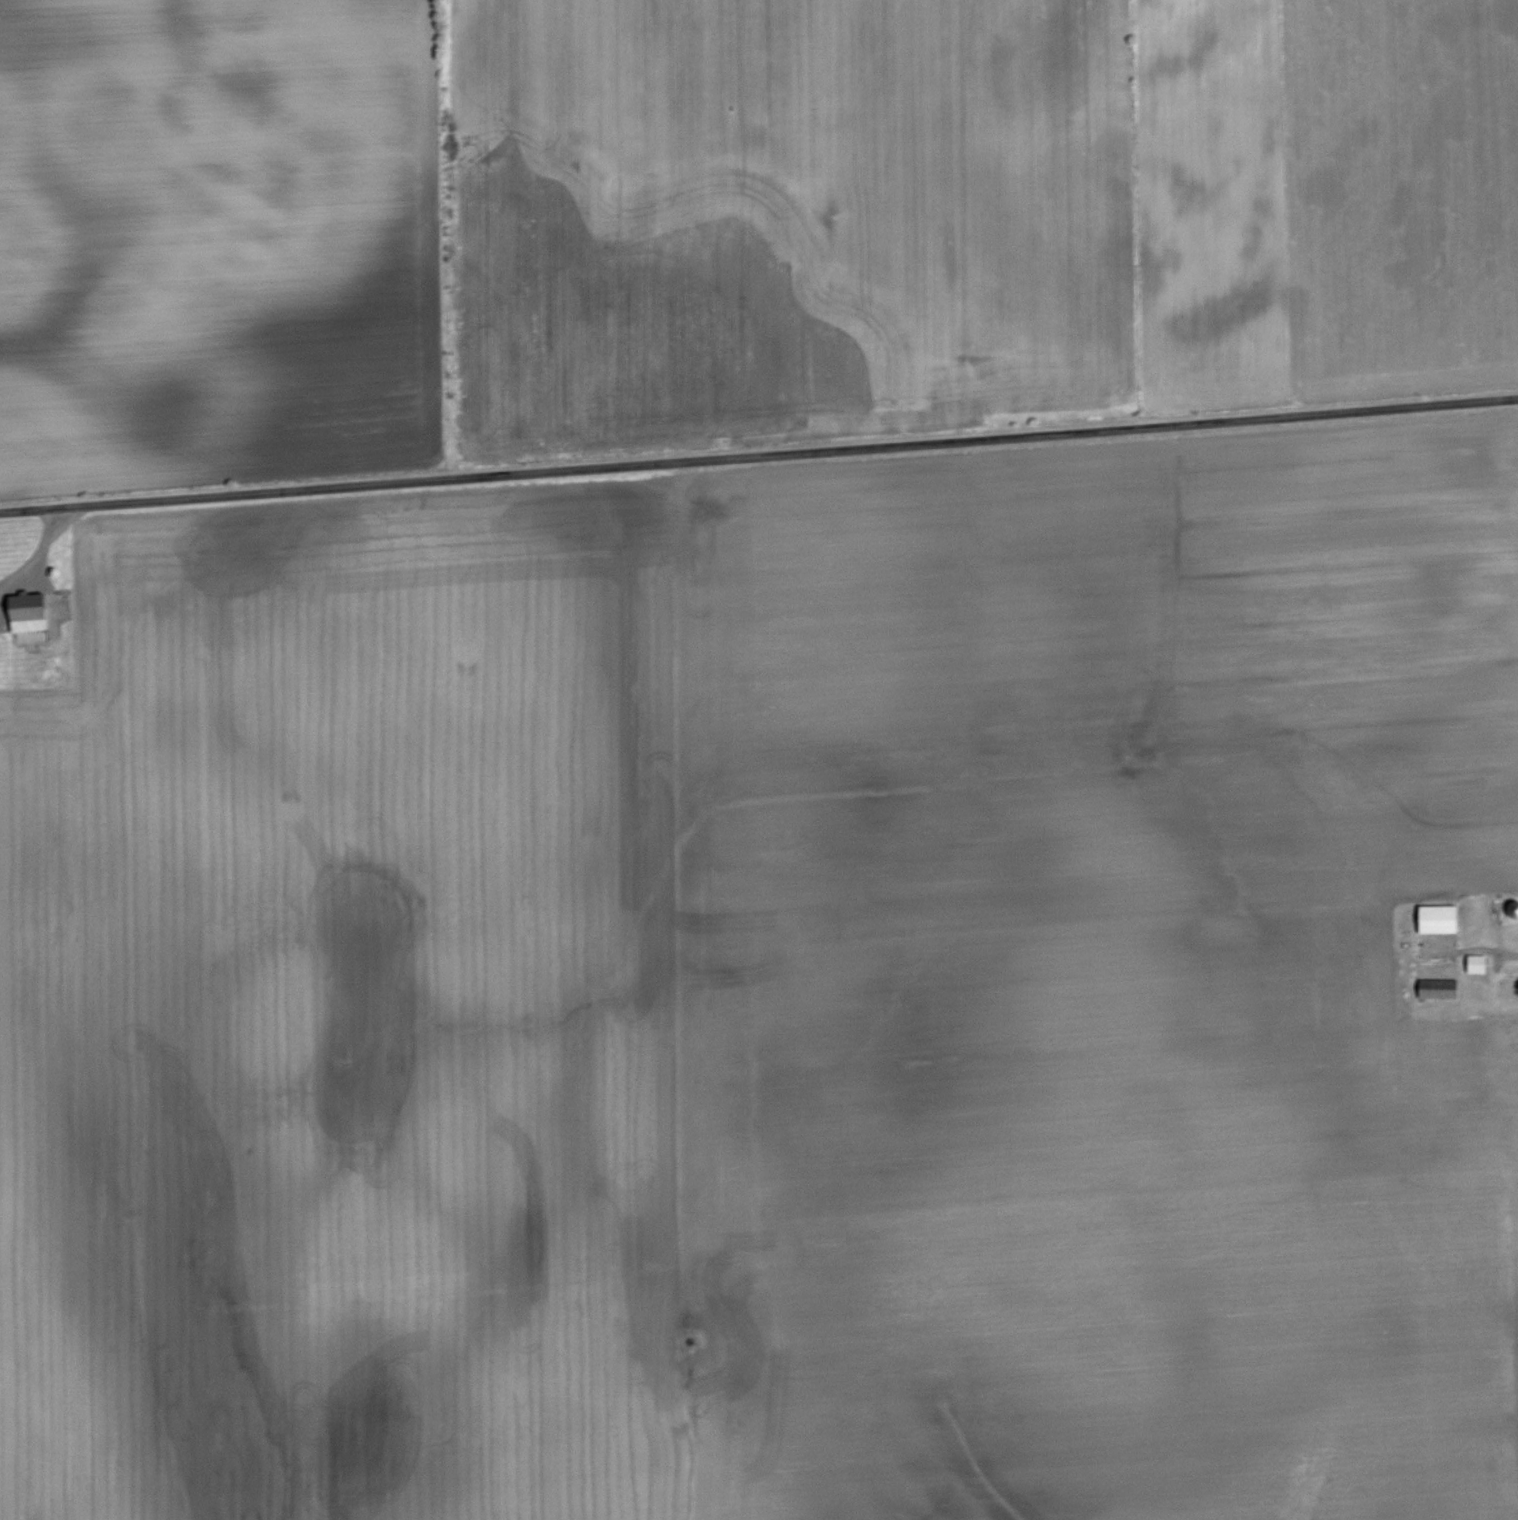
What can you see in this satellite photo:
road: (759, 454)
road: (33, 555)
building: (23, 615)
road: (1512, 957)
building: (1476, 965)
building: (1437, 989)

